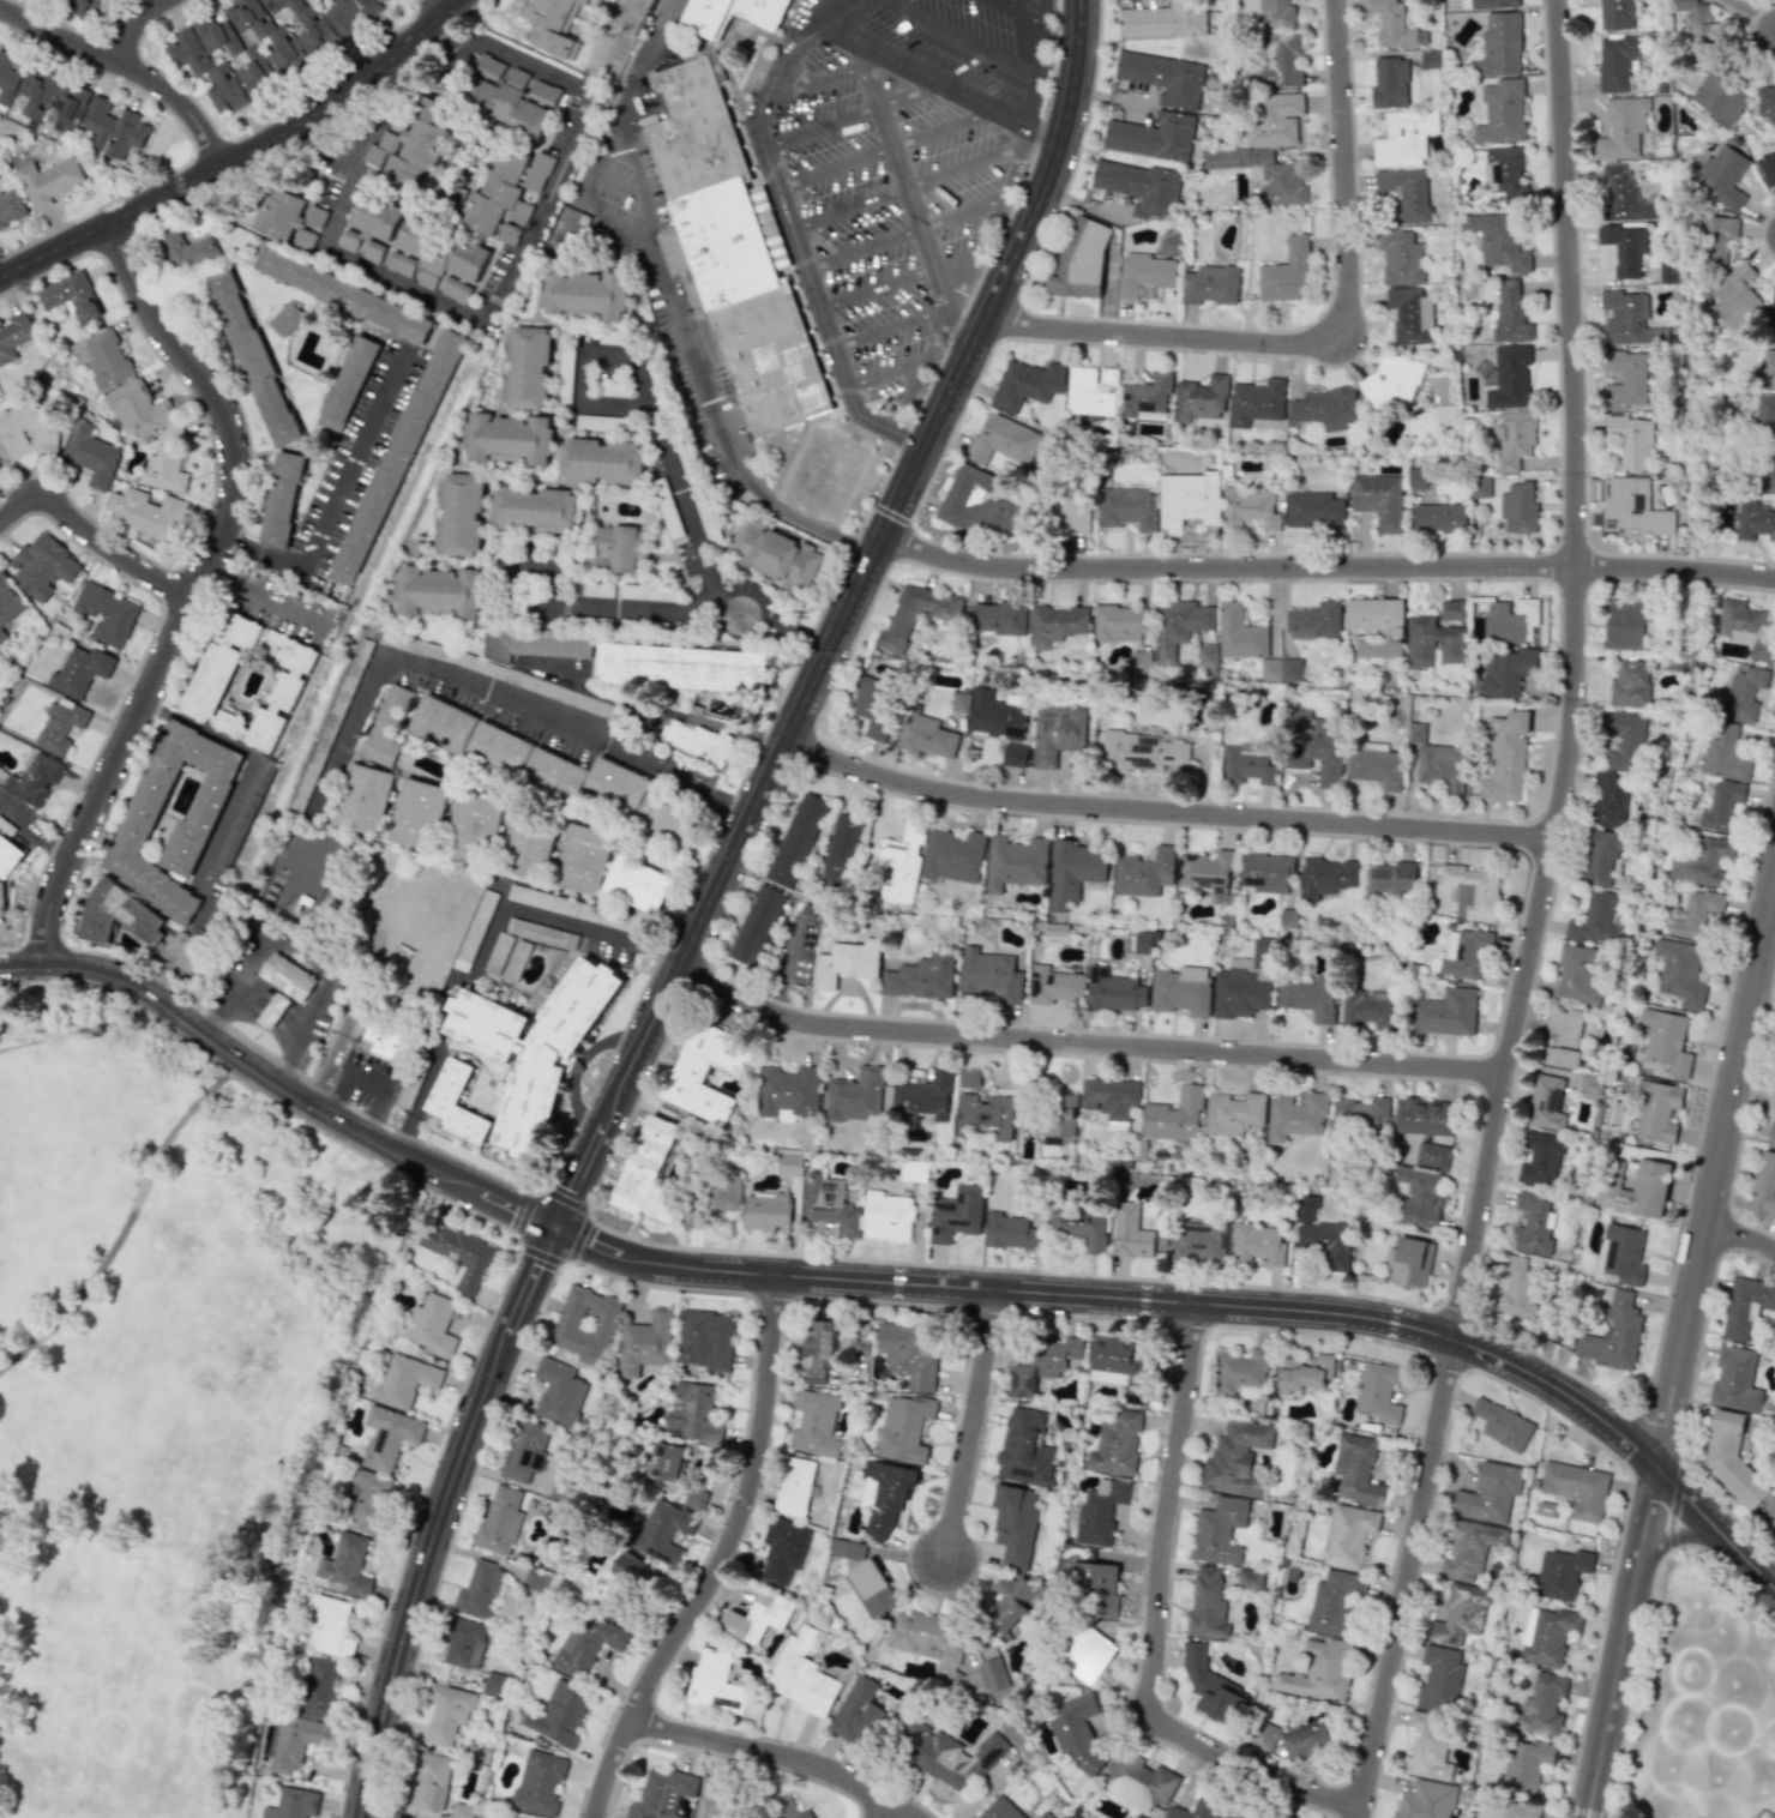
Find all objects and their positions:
building: (313, 0)
road: (441, 4)
building: (1493, 4)
building: (84, 7)
building: (734, 12)
road: (1016, 12)
building: (1275, 13)
building: (350, 14)
building: (1617, 14)
building: (1163, 18)
building: (1699, 18)
building: (1392, 23)
building: (307, 25)
road: (136, 26)
road: (616, 29)
building: (216, 36)
road: (959, 36)
building: (1499, 46)
building: (285, 53)
building: (1280, 59)
building: (1617, 64)
road: (127, 70)
building: (206, 70)
road: (928, 74)
road: (830, 76)
building: (1163, 76)
building: (7, 78)
building: (1390, 82)
building: (36, 94)
building: (510, 97)
building: (1720, 98)
building: (1767, 101)
building: (68, 108)
building: (1502, 112)
road: (847, 113)
building: (1275, 119)
building: (113, 128)
building: (1621, 128)
road: (1047, 133)
building: (1151, 136)
building: (1404, 138)
building: (411, 145)
road: (883, 150)
road: (1308, 152)
road: (239, 157)
building: (1769, 165)
parking lot: (905, 169)
building: (536, 171)
building: (0, 173)
building: (1505, 173)
building: (1264, 174)
building: (1725, 175)
building: (48, 180)
road: (908, 186)
building: (1139, 187)
road: (904, 189)
building: (498, 191)
building: (1406, 193)
building: (1623, 195)
building: (11, 206)
road: (782, 209)
building: (290, 217)
building: (375, 217)
road: (993, 223)
road: (905, 236)
building: (1716, 239)
building: (349, 241)
building: (1498, 241)
building: (185, 249)
building: (1624, 249)
building: (373, 252)
building: (1400, 257)
building: (443, 258)
building: (1079, 260)
building: (401, 264)
building: (1666, 270)
building: (1287, 272)
building: (1143, 273)
building: (742, 281)
road: (507, 282)
building: (1210, 284)
road: (897, 287)
building: (585, 294)
building: (71, 295)
building: (344, 295)
building: (1735, 295)
building: (1773, 297)
building: (1510, 313)
road: (676, 314)
building: (1409, 315)
building: (285, 319)
road: (967, 319)
road: (1169, 320)
building: (1630, 320)
road: (1320, 330)
road: (892, 331)
building: (14, 336)
building: (254, 357)
building: (107, 359)
building: (528, 368)
building: (1764, 368)
road: (885, 373)
building: (1108, 375)
building: (1509, 378)
building: (1625, 379)
building: (348, 383)
road: (582, 384)
building: (1027, 384)
building: (1391, 384)
building: (610, 389)
building: (1087, 393)
building: (1147, 397)
building: (1257, 402)
building: (1326, 408)
building: (138, 409)
building: (1763, 410)
building: (26, 429)
building: (1514, 438)
building: (507, 439)
road: (909, 440)
building: (1003, 440)
building: (1632, 440)
building: (91, 453)
building: (398, 456)
building: (601, 460)
building: (166, 462)
building: (1768, 469)
building: (1416, 478)
building: (1479, 487)
road: (905, 492)
road: (333, 493)
building: (282, 499)
building: (1189, 500)
building: (1379, 500)
building: (976, 502)
building: (1636, 506)
building: (1518, 507)
building: (534, 508)
building: (1129, 508)
building: (1250, 508)
building: (148, 511)
building: (1313, 511)
building: (1065, 512)
building: (461, 514)
building: (1439, 517)
building: (1753, 520)
road: (94, 534)
road: (693, 537)
building: (616, 548)
building: (774, 554)
building: (43, 564)
road: (1329, 566)
road: (506, 570)
building: (579, 588)
road: (199, 589)
building: (439, 591)
road: (269, 594)
building: (7, 598)
road: (634, 607)
building: (1452, 609)
building: (107, 610)
building: (999, 618)
building: (902, 619)
building: (1511, 619)
building: (1316, 620)
building: (1121, 622)
building: (1626, 622)
building: (1058, 624)
building: (1180, 625)
building: (1377, 625)
building: (1745, 627)
building: (2, 633)
building: (1240, 633)
building: (1433, 642)
building: (531, 645)
building: (1208, 655)
building: (1141, 662)
building: (682, 667)
building: (82, 669)
building: (1282, 669)
building: (1508, 672)
building: (499, 673)
building: (1629, 682)
building: (210, 684)
building: (1744, 694)
building: (962, 702)
building: (876, 705)
road: (657, 708)
building: (998, 715)
road: (544, 721)
building: (443, 723)
building: (61, 724)
building: (330, 726)
building: (386, 726)
building: (1059, 733)
building: (1416, 733)
building: (928, 734)
building: (1621, 739)
building: (697, 741)
building: (1313, 745)
building: (499, 750)
building: (1143, 752)
building: (1725, 752)
road: (341, 753)
building: (1016, 754)
building: (1505, 756)
building: (1374, 764)
building: (1246, 765)
building: (1442, 765)
road: (247, 766)
building: (554, 776)
building: (35, 778)
building: (616, 785)
building: (363, 797)
building: (1608, 799)
road: (730, 802)
building: (1721, 807)
building: (246, 811)
road: (1167, 811)
building: (419, 813)
building: (669, 819)
building: (474, 829)
road: (36, 832)
building: (131, 837)
building: (796, 838)
building: (530, 844)
building: (842, 850)
building: (8, 856)
building: (955, 856)
building: (1600, 856)
building: (583, 859)
building: (1017, 862)
building: (1702, 862)
building: (903, 863)
building: (1075, 872)
building: (1144, 872)
building: (1207, 872)
building: (1266, 872)
building: (1328, 877)
building: (1392, 878)
building: (639, 883)
building: (1473, 890)
building: (2, 899)
building: (552, 902)
building: (119, 913)
building: (1695, 914)
road: (1540, 916)
building: (1594, 920)
building: (757, 925)
building: (475, 929)
road: (486, 941)
building: (1143, 941)
building: (1466, 952)
road: (299, 956)
building: (847, 963)
road: (366, 965)
building: (1680, 971)
building: (1581, 973)
building: (989, 975)
building: (287, 977)
building: (921, 977)
building: (1244, 983)
building: (1054, 986)
building: (1181, 989)
building: (1114, 991)
building: (1310, 997)
building: (1370, 1009)
building: (272, 1011)
building: (1448, 1012)
road: (608, 1037)
building: (1565, 1037)
building: (385, 1040)
building: (1667, 1041)
road: (1089, 1043)
building: (535, 1047)
road: (577, 1066)
building: (691, 1070)
building: (969, 1078)
road: (281, 1082)
building: (1594, 1083)
building: (451, 1085)
building: (790, 1090)
building: (856, 1095)
building: (925, 1096)
building: (1111, 1100)
road: (618, 1101)
building: (1548, 1102)
road: (576, 1109)
building: (1657, 1110)
building: (1361, 1112)
building: (1233, 1113)
building: (1059, 1114)
building: (985, 1115)
building: (1175, 1115)
building: (1296, 1116)
building: (1425, 1116)
building: (1771, 1136)
building: (1433, 1155)
building: (1542, 1158)
building: (792, 1161)
building: (915, 1170)
building: (648, 1172)
road: (1716, 1181)
building: (1637, 1187)
building: (1764, 1187)
building: (723, 1190)
building: (1419, 1197)
building: (830, 1204)
building: (768, 1212)
building: (956, 1214)
building: (889, 1216)
building: (1535, 1224)
building: (1079, 1227)
building: (1009, 1232)
building: (1131, 1232)
building: (1322, 1236)
road: (1741, 1238)
building: (1199, 1241)
building: (1260, 1244)
building: (1624, 1253)
building: (458, 1256)
building: (1410, 1262)
building: (1518, 1286)
road: (1125, 1299)
building: (1746, 1306)
building: (432, 1324)
building: (586, 1324)
building: (1614, 1335)
building: (708, 1340)
building: (646, 1343)
building: (822, 1350)
building: (911, 1353)
building: (1041, 1361)
building: (1118, 1366)
building: (1240, 1371)
building: (1304, 1372)
building: (1735, 1379)
building: (405, 1380)
building: (561, 1391)
building: (1378, 1392)
park: (157, 1401)
building: (696, 1413)
building: (818, 1423)
building: (1502, 1423)
road: (976, 1426)
building: (907, 1428)
building: (390, 1435)
building: (1115, 1445)
building: (1027, 1449)
building: (524, 1451)
building: (1235, 1458)
building: (1732, 1459)
building: (663, 1461)
building: (1356, 1470)
building: (799, 1486)
building: (1576, 1488)
building: (1490, 1493)
building: (890, 1497)
building: (697, 1498)
building: (367, 1499)
building: (1769, 1510)
building: (1101, 1511)
road: (439, 1518)
building: (500, 1521)
building: (1017, 1525)
road: (1717, 1529)
building: (1220, 1530)
building: (664, 1531)
building: (1348, 1535)
road: (1669, 1536)
building: (847, 1548)
building: (1468, 1549)
building: (786, 1552)
road: (726, 1560)
building: (347, 1565)
building: (636, 1572)
building: (1560, 1573)
building: (1250, 1578)
building: (534, 1581)
building: (1099, 1587)
building: (876, 1588)
building: (479, 1590)
building: (1011, 1602)
building: (1335, 1602)
building: (1207, 1605)
building: (1458, 1615)
building: (759, 1617)
road: (1157, 1624)
building: (330, 1626)
building: (1547, 1635)
building: (464, 1643)
road: (1624, 1643)
building: (588, 1645)
building: (949, 1651)
building: (1085, 1653)
building: (1319, 1672)
building: (805, 1674)
building: (1439, 1680)
building: (717, 1682)
building: (494, 1684)
building: (319, 1686)
building: (1213, 1687)
building: (1541, 1704)
park: (1702, 1704)
building: (559, 1712)
building: (446, 1714)
building: (861, 1715)
building: (1082, 1732)
building: (1264, 1736)
building: (293, 1741)
building: (1306, 1741)
building: (1428, 1745)
road: (777, 1752)
building: (950, 1754)
building: (1524, 1766)
building: (429, 1781)
building: (538, 1782)
building: (1141, 1782)
building: (662, 1794)
building: (712, 1799)
building: (1427, 1800)
building: (294, 1804)
building: (783, 1806)
building: (1000, 1808)
road: (889, 1810)
building: (1196, 1810)
building: (462, 1811)
building: (1522, 1811)
building: (1045, 1814)
building: (1072, 1814)
building: (1138, 1817)
building: (1252, 1817)

